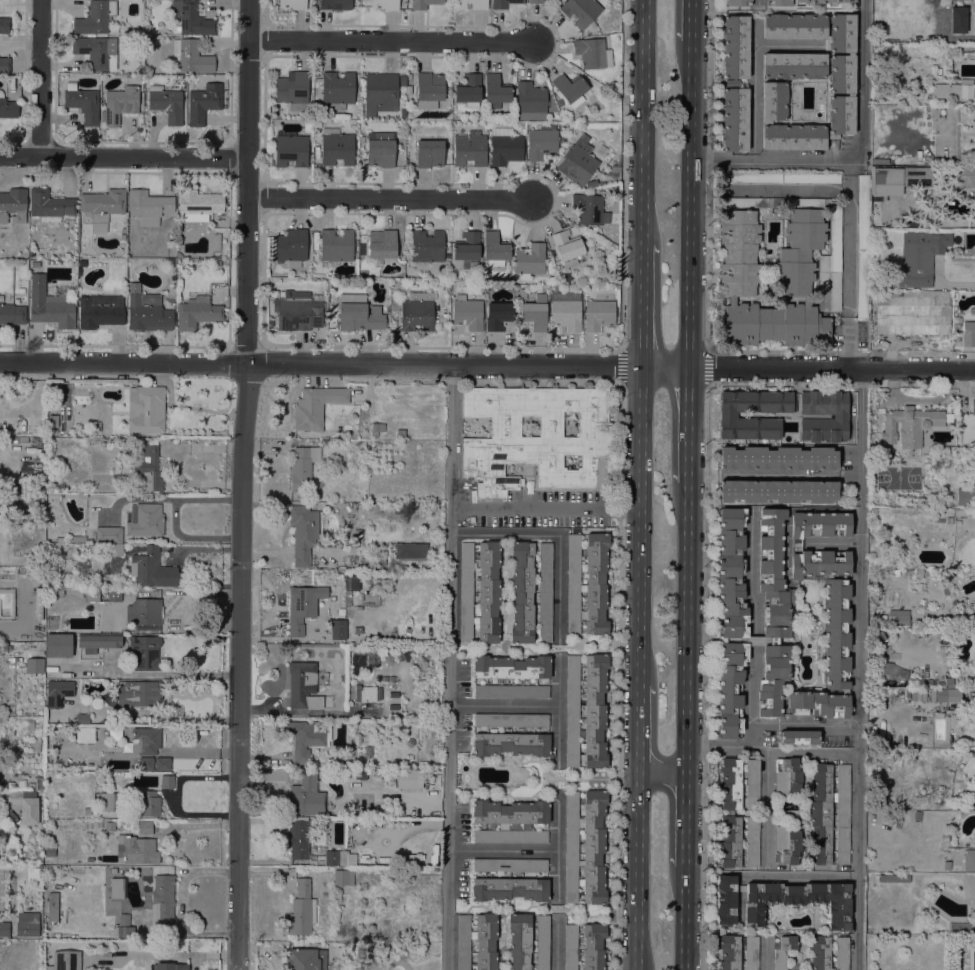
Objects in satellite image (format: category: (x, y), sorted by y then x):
building: (535, 1)
building: (821, 1)
building: (363, 2)
building: (738, 2)
building: (778, 2)
building: (504, 3)
building: (293, 4)
building: (335, 4)
building: (385, 4)
building: (423, 4)
building: (471, 4)
road: (758, 4)
building: (580, 11)
building: (95, 17)
building: (191, 19)
building: (957, 20)
road: (692, 23)
building: (4, 25)
building: (938, 25)
building: (794, 26)
building: (842, 33)
road: (389, 40)
building: (735, 46)
building: (95, 52)
building: (592, 53)
building: (189, 56)
building: (5, 65)
building: (793, 65)
road: (754, 70)
building: (841, 74)
building: (138, 77)
building: (408, 77)
building: (402, 78)
road: (39, 79)
building: (570, 89)
building: (293, 90)
building: (337, 90)
building: (429, 90)
building: (469, 90)
building: (956, 90)
building: (495, 91)
building: (380, 93)
building: (774, 101)
building: (531, 102)
building: (559, 102)
building: (82, 103)
building: (203, 103)
building: (119, 104)
building: (166, 104)
building: (8, 107)
building: (402, 113)
building: (555, 116)
building: (734, 119)
road: (645, 121)
building: (767, 122)
building: (812, 128)
building: (361, 140)
building: (541, 142)
building: (336, 147)
building: (505, 147)
building: (290, 149)
building: (380, 149)
building: (469, 149)
building: (429, 153)
road: (123, 158)
road: (857, 159)
building: (578, 160)
building: (615, 168)
building: (917, 176)
building: (780, 177)
building: (965, 177)
road: (247, 181)
building: (888, 182)
building: (591, 183)
road: (388, 198)
building: (13, 205)
building: (50, 205)
building: (199, 205)
building: (102, 207)
building: (148, 207)
road: (691, 207)
building: (589, 209)
road: (846, 221)
building: (835, 231)
building: (901, 235)
building: (911, 235)
building: (920, 235)
building: (939, 243)
building: (336, 244)
building: (382, 244)
building: (291, 246)
building: (427, 246)
building: (862, 246)
building: (567, 247)
building: (468, 248)
building: (447, 249)
building: (495, 249)
road: (709, 252)
building: (739, 252)
building: (799, 252)
building: (31, 254)
building: (529, 261)
building: (217, 262)
building: (81, 263)
building: (35, 264)
building: (79, 271)
building: (21, 290)
building: (522, 294)
building: (731, 300)
building: (809, 302)
building: (50, 305)
road: (644, 305)
building: (565, 309)
building: (298, 310)
building: (100, 311)
building: (417, 311)
building: (147, 312)
building: (197, 312)
building: (467, 312)
building: (535, 312)
building: (912, 312)
building: (12, 314)
building: (358, 314)
building: (497, 315)
building: (598, 315)
building: (773, 324)
building: (969, 334)
road: (487, 366)
road: (708, 366)
building: (316, 406)
building: (146, 409)
building: (973, 409)
building: (727, 415)
building: (823, 416)
building: (52, 421)
building: (909, 425)
road: (688, 428)
building: (377, 429)
building: (400, 433)
building: (536, 438)
building: (38, 444)
building: (778, 458)
building: (302, 467)
building: (29, 468)
building: (147, 471)
road: (775, 475)
building: (777, 491)
building: (965, 496)
road: (547, 508)
building: (421, 509)
building: (148, 520)
building: (949, 520)
building: (957, 523)
building: (819, 524)
road: (642, 526)
building: (359, 532)
building: (303, 533)
building: (108, 535)
road: (559, 535)
road: (834, 544)
building: (114, 549)
building: (410, 551)
road: (708, 555)
building: (373, 563)
building: (151, 569)
building: (732, 572)
building: (773, 574)
building: (339, 576)
building: (352, 583)
building: (596, 583)
building: (573, 584)
building: (545, 591)
building: (466, 592)
building: (488, 592)
building: (522, 592)
building: (103, 595)
building: (302, 606)
building: (830, 608)
building: (146, 611)
building: (880, 619)
building: (901, 620)
road: (686, 624)
building: (339, 629)
building: (358, 630)
building: (98, 642)
building: (58, 645)
building: (4, 647)
building: (145, 652)
building: (34, 665)
road: (238, 666)
building: (511, 667)
road: (449, 668)
road: (860, 669)
road: (754, 670)
road: (618, 677)
building: (384, 678)
building: (391, 678)
building: (772, 680)
building: (949, 683)
building: (304, 686)
building: (731, 689)
building: (511, 691)
building: (58, 692)
building: (845, 692)
building: (138, 693)
building: (365, 693)
building: (941, 695)
building: (817, 704)
building: (392, 705)
road: (503, 706)
road: (558, 710)
building: (572, 711)
building: (594, 711)
road: (641, 717)
building: (82, 718)
building: (511, 720)
building: (86, 734)
road: (754, 735)
building: (307, 737)
building: (799, 737)
building: (145, 741)
building: (511, 744)
road: (719, 747)
road: (805, 752)
road: (661, 760)
building: (146, 763)
building: (162, 763)
building: (360, 774)
building: (788, 777)
road: (684, 778)
building: (407, 779)
building: (167, 781)
building: (38, 783)
building: (1, 785)
road: (663, 785)
building: (305, 794)
building: (879, 799)
building: (107, 802)
building: (145, 803)
building: (967, 804)
building: (735, 805)
building: (29, 808)
road: (766, 809)
building: (87, 811)
building: (830, 813)
building: (917, 816)
building: (510, 821)
building: (109, 826)
building: (145, 827)
road: (684, 830)
building: (298, 839)
building: (752, 841)
building: (787, 845)
building: (585, 847)
building: (139, 850)
road: (557, 850)
building: (49, 851)
road: (502, 851)
building: (336, 858)
road: (639, 859)
building: (969, 860)
building: (510, 865)
building: (32, 874)
building: (343, 877)
road: (800, 878)
building: (893, 878)
building: (115, 888)
building: (509, 889)
building: (162, 900)
building: (781, 900)
building: (52, 907)
building: (302, 909)
road: (683, 917)
building: (27, 924)
building: (124, 927)
building: (4, 929)
building: (519, 940)
building: (463, 942)
building: (485, 942)
building: (542, 942)
road: (556, 944)
building: (593, 946)
building: (570, 947)
building: (738, 952)
road: (765, 952)
building: (784, 952)
building: (820, 952)
building: (841, 953)
building: (306, 959)
building: (65, 960)
building: (170, 966)

